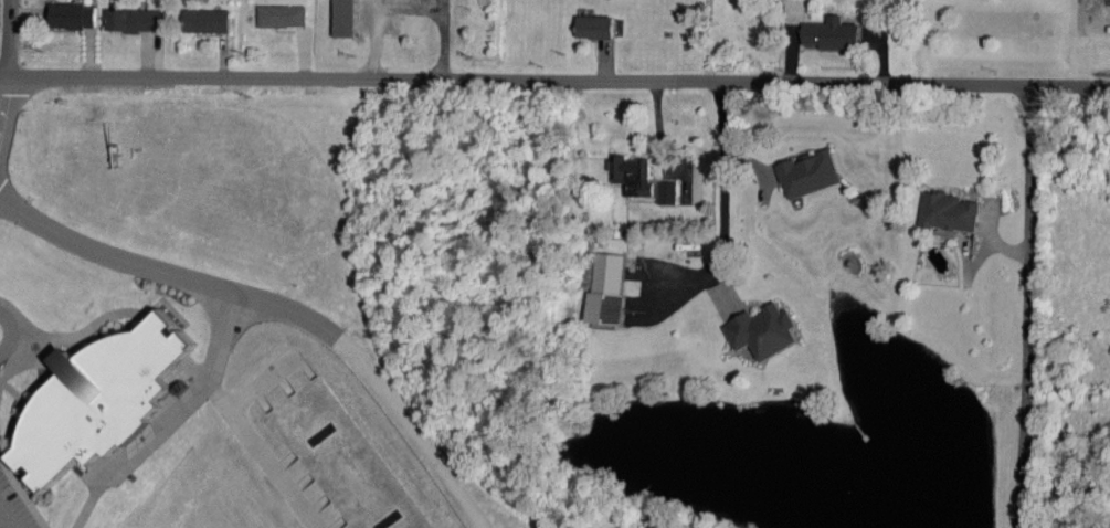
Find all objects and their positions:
building: (283, 19)
building: (71, 20)
building: (342, 20)
building: (203, 23)
building: (136, 24)
building: (593, 30)
building: (831, 36)
road: (11, 39)
road: (554, 75)
road: (4, 105)
building: (806, 175)
road: (726, 200)
building: (945, 214)
road: (167, 275)
building: (603, 289)
road: (1028, 306)
road: (94, 326)
road: (27, 328)
road: (11, 335)
building: (760, 336)
road: (21, 348)
building: (96, 401)
road: (19, 495)
road: (92, 497)
parking lot: (11, 509)
road: (7, 517)

